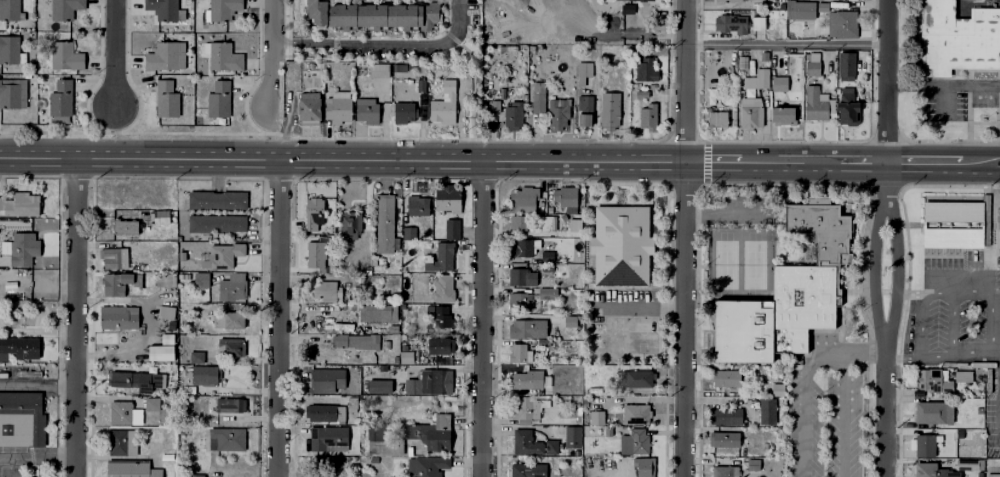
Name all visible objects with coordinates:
building: (850, 0)
building: (637, 1)
building: (729, 1)
building: (66, 8)
building: (224, 8)
building: (803, 8)
building: (162, 9)
building: (628, 9)
building: (317, 10)
building: (10, 11)
building: (383, 14)
building: (841, 21)
building: (729, 23)
building: (757, 25)
building: (958, 38)
road: (286, 43)
road: (786, 44)
road: (399, 45)
building: (9, 50)
building: (606, 51)
building: (643, 52)
road: (116, 53)
road: (274, 54)
building: (66, 57)
building: (224, 57)
building: (763, 57)
building: (163, 58)
building: (818, 62)
building: (742, 63)
building: (313, 64)
building: (345, 68)
building: (846, 68)
building: (778, 70)
building: (379, 73)
building: (584, 74)
building: (646, 75)
building: (747, 80)
road: (904, 85)
road: (961, 85)
building: (421, 87)
building: (13, 95)
road: (886, 96)
building: (61, 99)
building: (167, 100)
building: (219, 101)
road: (943, 101)
building: (813, 102)
building: (585, 103)
building: (538, 104)
building: (445, 105)
building: (337, 108)
building: (495, 108)
building: (365, 109)
building: (310, 110)
building: (750, 111)
building: (848, 111)
building: (404, 113)
building: (782, 114)
building: (560, 116)
building: (514, 117)
building: (610, 117)
building: (649, 117)
building: (715, 118)
building: (586, 123)
road: (443, 158)
road: (929, 162)
road: (986, 163)
building: (521, 194)
building: (564, 194)
building: (448, 196)
building: (218, 198)
building: (418, 203)
building: (23, 204)
building: (999, 213)
road: (721, 214)
building: (161, 215)
building: (316, 215)
building: (218, 221)
building: (385, 221)
building: (517, 221)
building: (351, 222)
building: (544, 222)
building: (955, 224)
building: (125, 225)
building: (452, 226)
building: (410, 230)
road: (684, 238)
building: (521, 245)
building: (26, 246)
building: (620, 246)
building: (316, 251)
building: (225, 253)
building: (546, 255)
building: (112, 256)
building: (440, 256)
building: (167, 258)
building: (186, 262)
park: (725, 264)
park: (753, 264)
road: (872, 266)
road: (896, 266)
building: (558, 271)
building: (520, 275)
building: (344, 276)
building: (408, 278)
building: (166, 279)
building: (202, 279)
building: (12, 282)
building: (116, 283)
building: (233, 286)
building: (444, 287)
building: (326, 289)
building: (786, 289)
building: (553, 291)
road: (904, 294)
road: (958, 294)
building: (516, 300)
parking lot: (622, 302)
road: (639, 304)
road: (992, 306)
building: (165, 311)
building: (375, 312)
building: (443, 314)
road: (75, 316)
building: (119, 317)
road: (280, 317)
building: (229, 318)
road: (482, 318)
building: (569, 320)
building: (182, 325)
road: (952, 325)
building: (526, 326)
road: (919, 326)
building: (168, 338)
building: (355, 339)
building: (542, 341)
building: (440, 342)
park: (642, 342)
building: (21, 344)
building: (231, 345)
building: (182, 347)
building: (518, 352)
road: (859, 352)
building: (197, 354)
road: (824, 358)
road: (897, 360)
building: (206, 373)
building: (635, 376)
building: (940, 376)
building: (723, 377)
building: (130, 378)
building: (327, 378)
building: (520, 378)
building: (429, 380)
road: (37, 385)
building: (378, 386)
building: (211, 387)
building: (776, 387)
building: (153, 401)
building: (352, 401)
building: (231, 403)
building: (527, 406)
road: (884, 407)
building: (764, 409)
building: (121, 410)
building: (325, 411)
building: (634, 412)
building: (933, 412)
building: (969, 412)
building: (723, 414)
building: (594, 415)
building: (21, 419)
parking lot: (824, 422)
building: (412, 429)
building: (440, 432)
building: (571, 434)
building: (227, 436)
building: (329, 436)
building: (721, 437)
building: (123, 438)
building: (383, 438)
building: (632, 440)
building: (530, 441)
building: (925, 446)
road: (37, 458)
building: (751, 463)
building: (965, 463)
building: (427, 465)
building: (641, 465)
building: (130, 469)
building: (525, 470)
building: (723, 470)
building: (933, 470)
building: (994, 472)
building: (196, 473)

